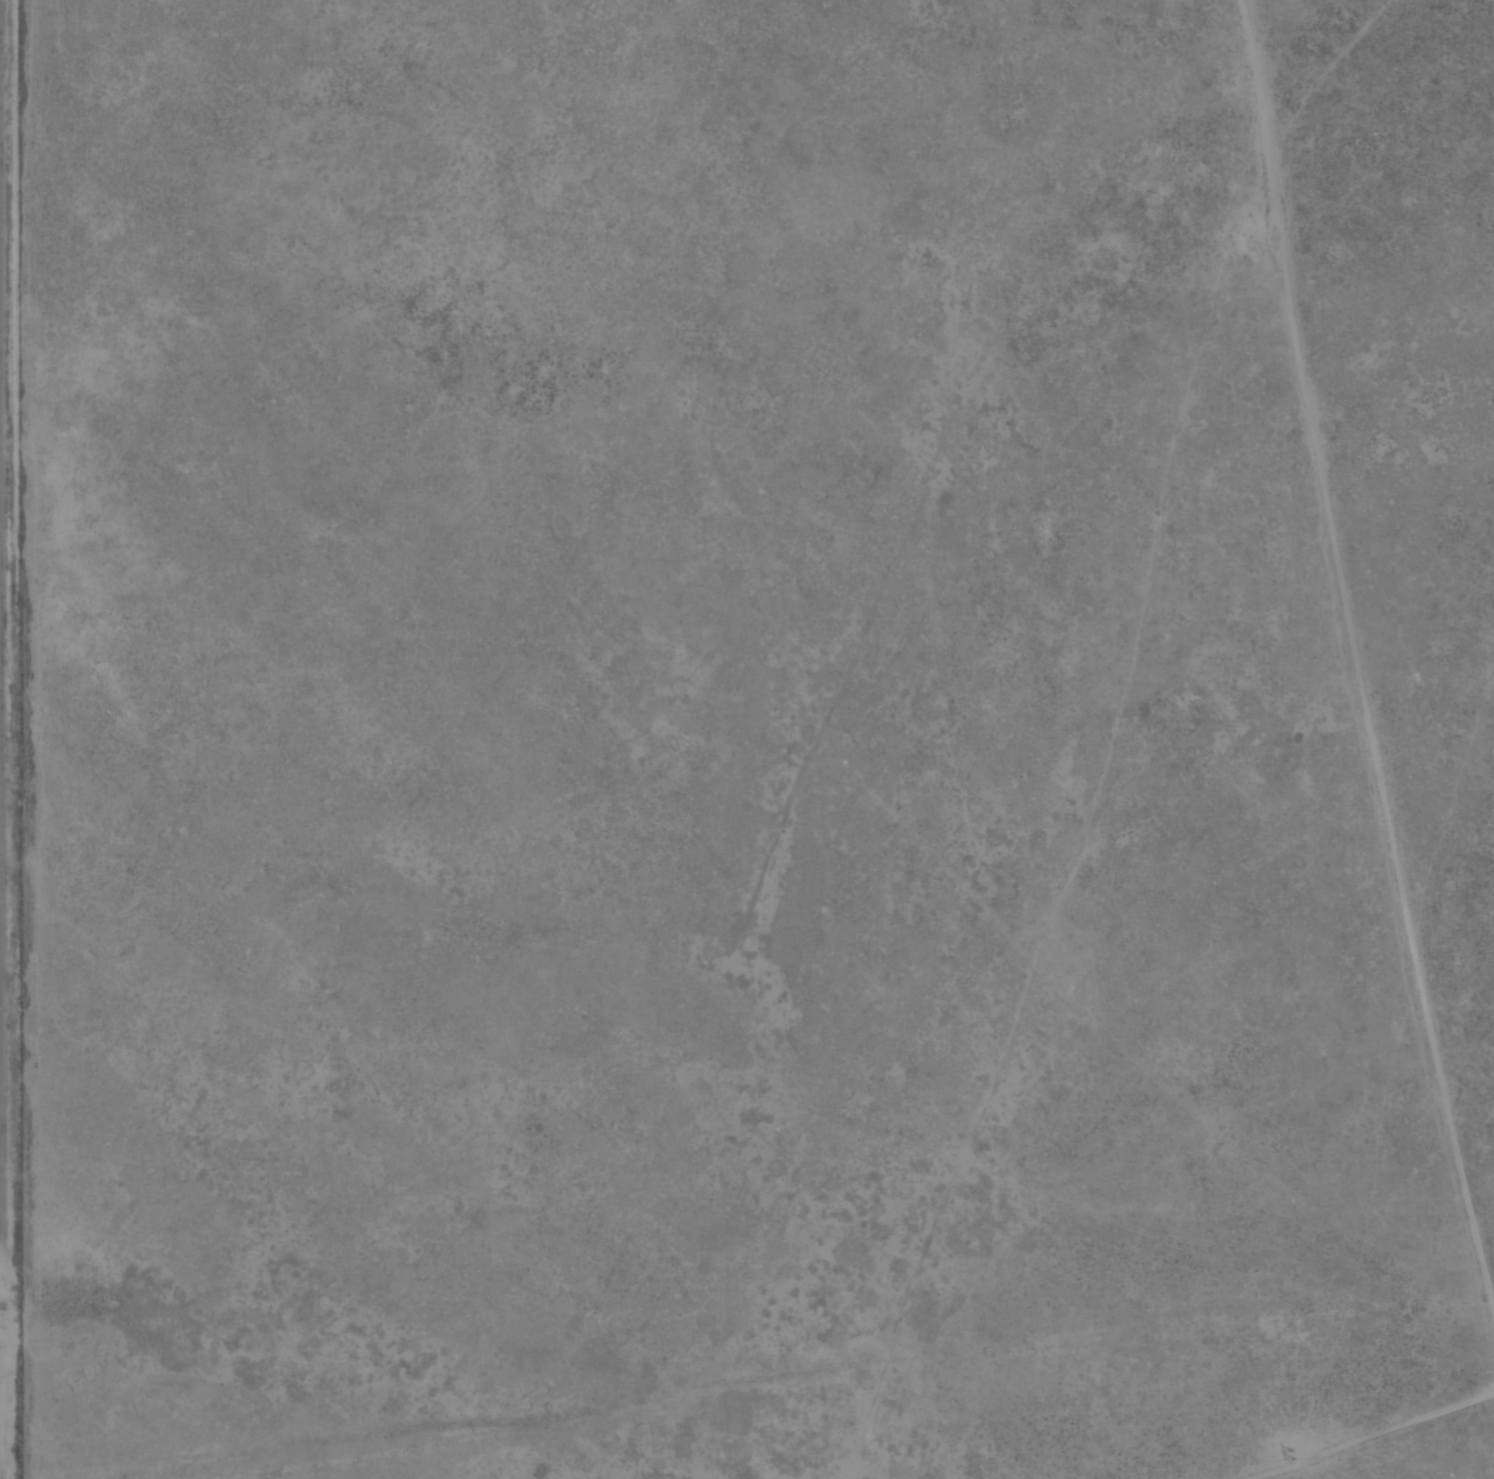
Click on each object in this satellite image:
power tower: (1294, 1454)

